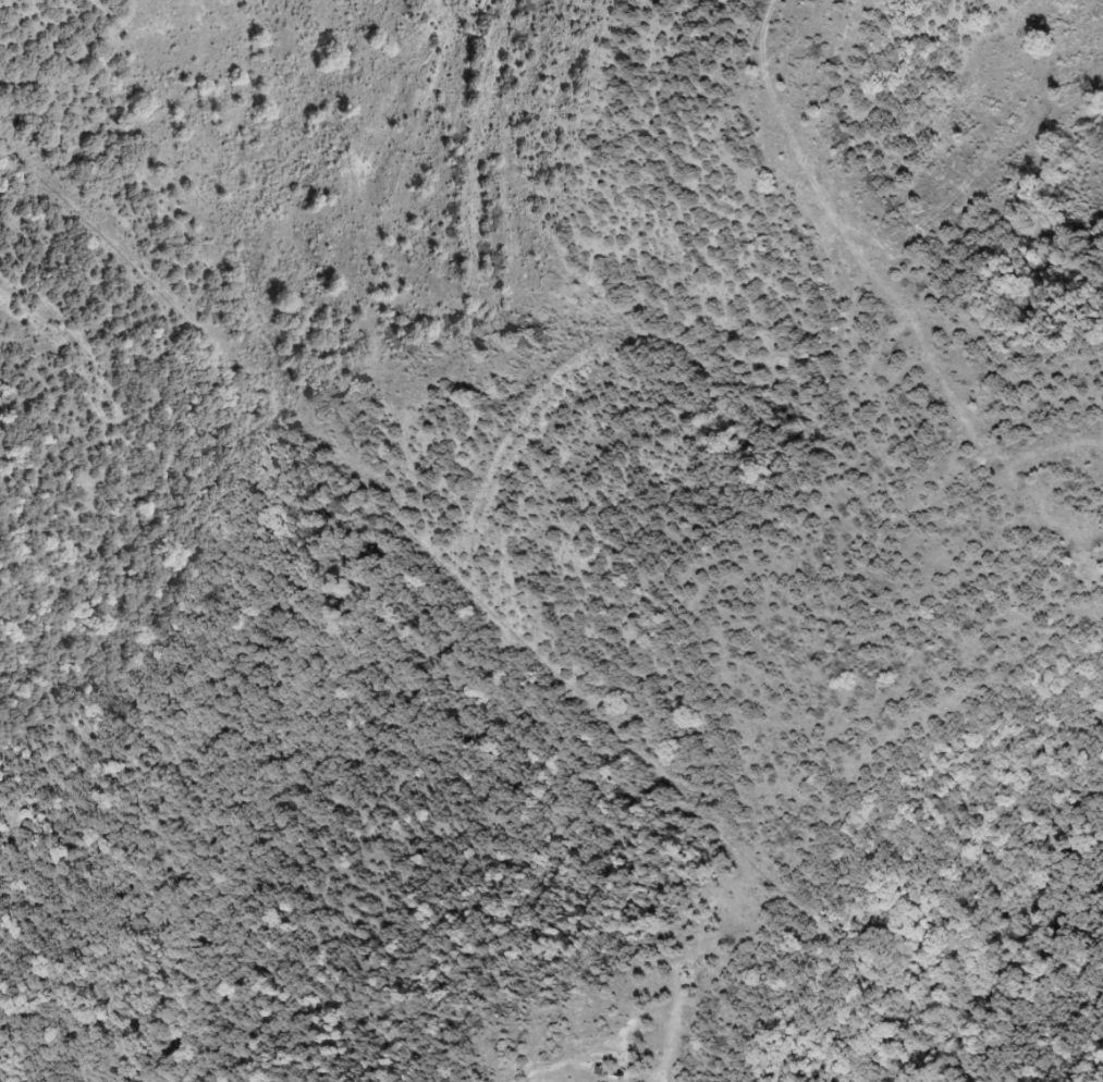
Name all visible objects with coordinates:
road: (670, 1053)

